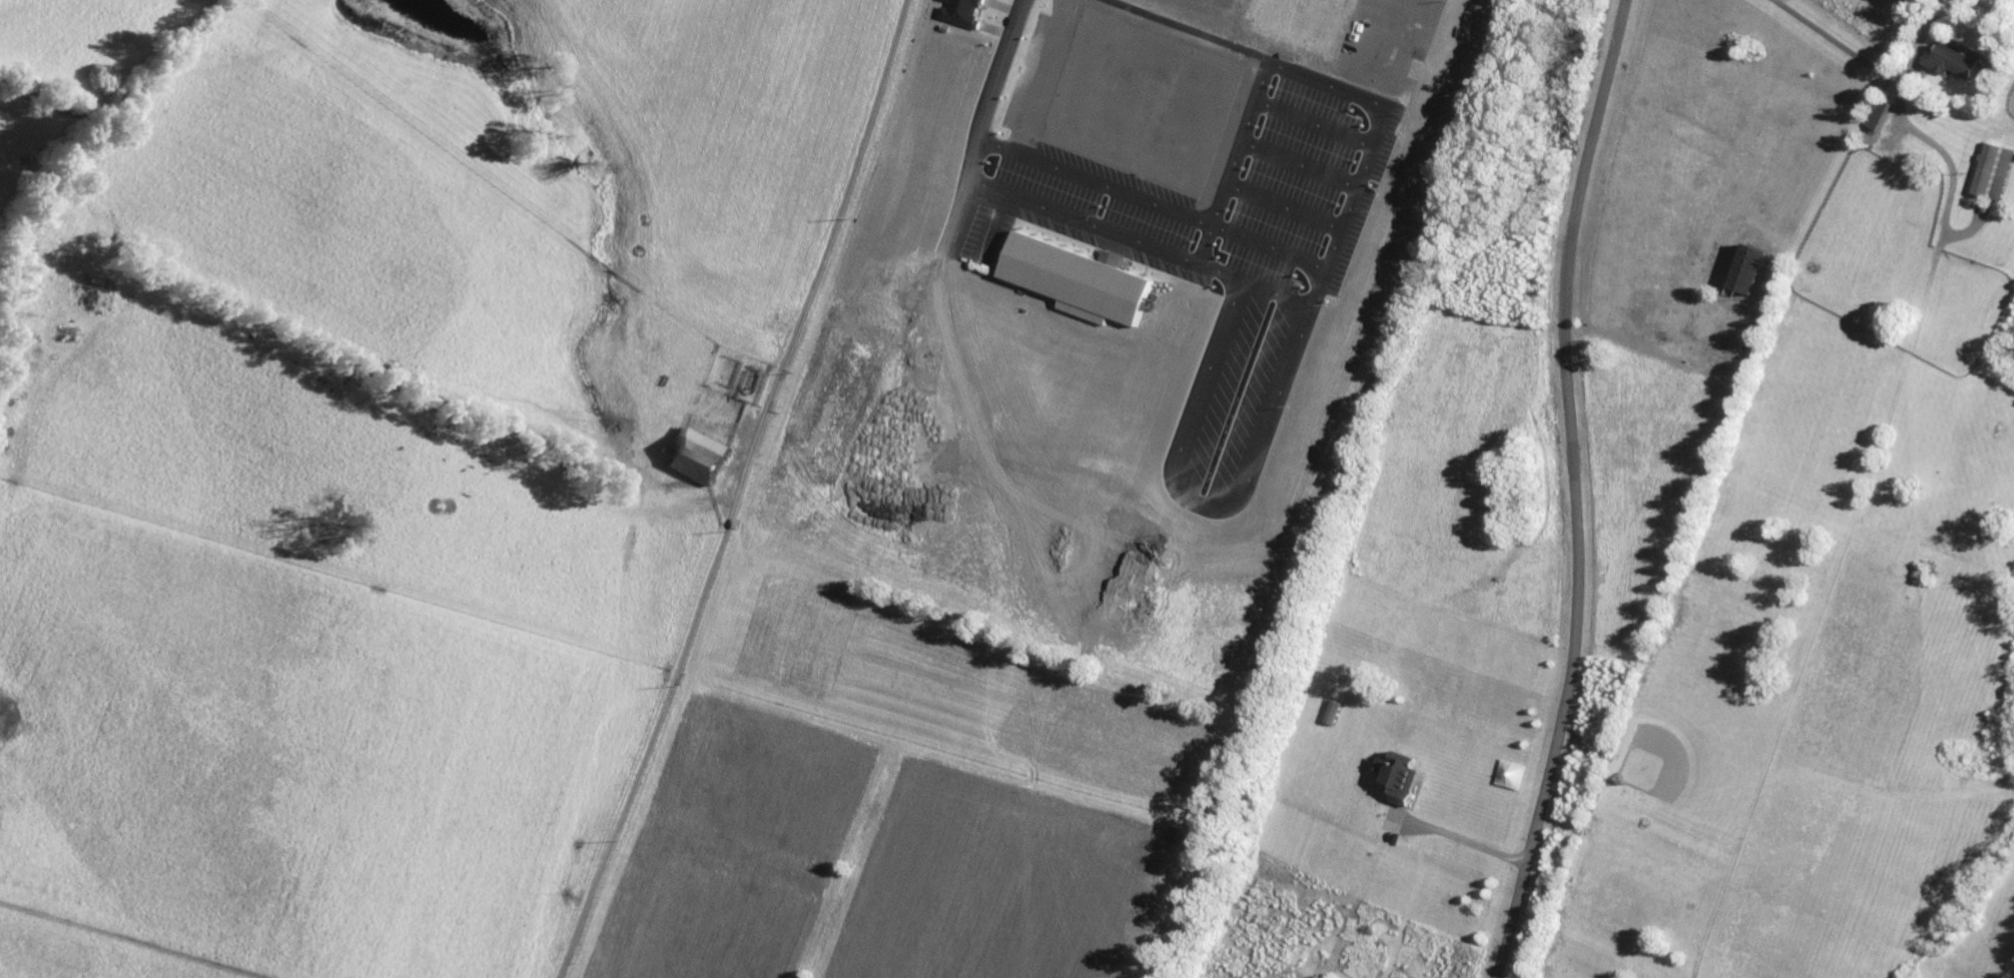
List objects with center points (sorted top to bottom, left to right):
building: (959, 12)
building: (1947, 60)
road: (1874, 68)
building: (1877, 114)
road: (984, 121)
building: (1992, 170)
road: (1948, 172)
road: (1107, 191)
road: (987, 225)
building: (1747, 273)
building: (1073, 280)
road: (1606, 329)
road: (1265, 432)
building: (698, 456)
road: (736, 489)
road: (1572, 490)
building: (1397, 776)
road: (1456, 837)

